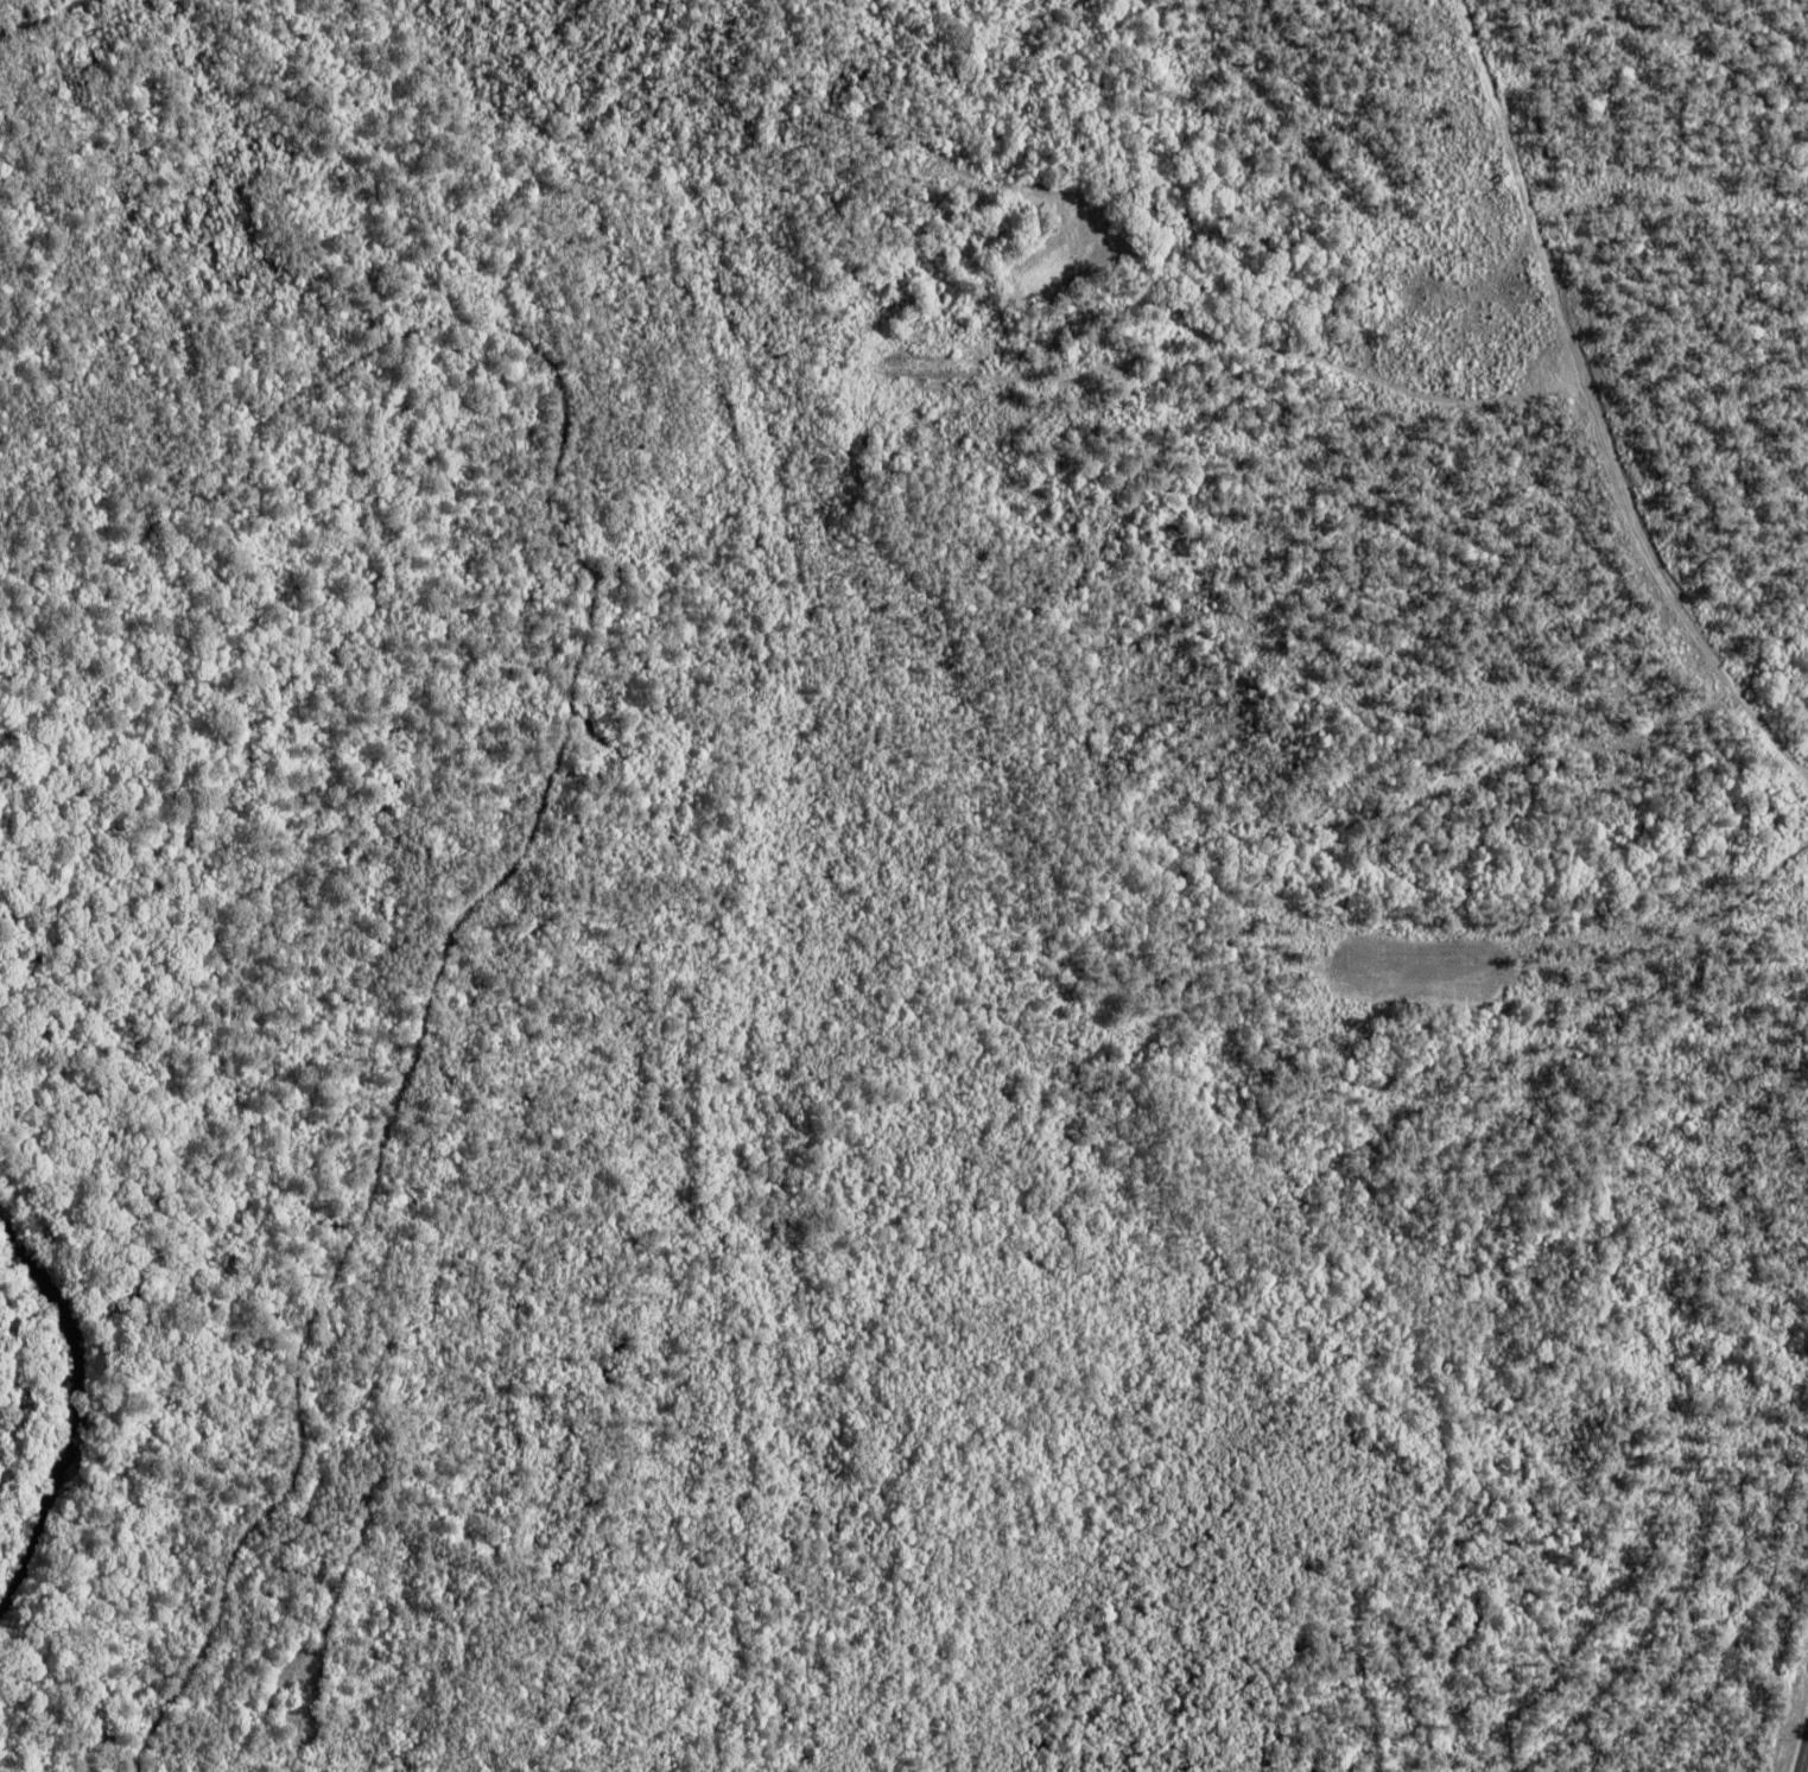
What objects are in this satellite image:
road: (1591, 405)
river: (76, 1401)
road: (1806, 1764)

